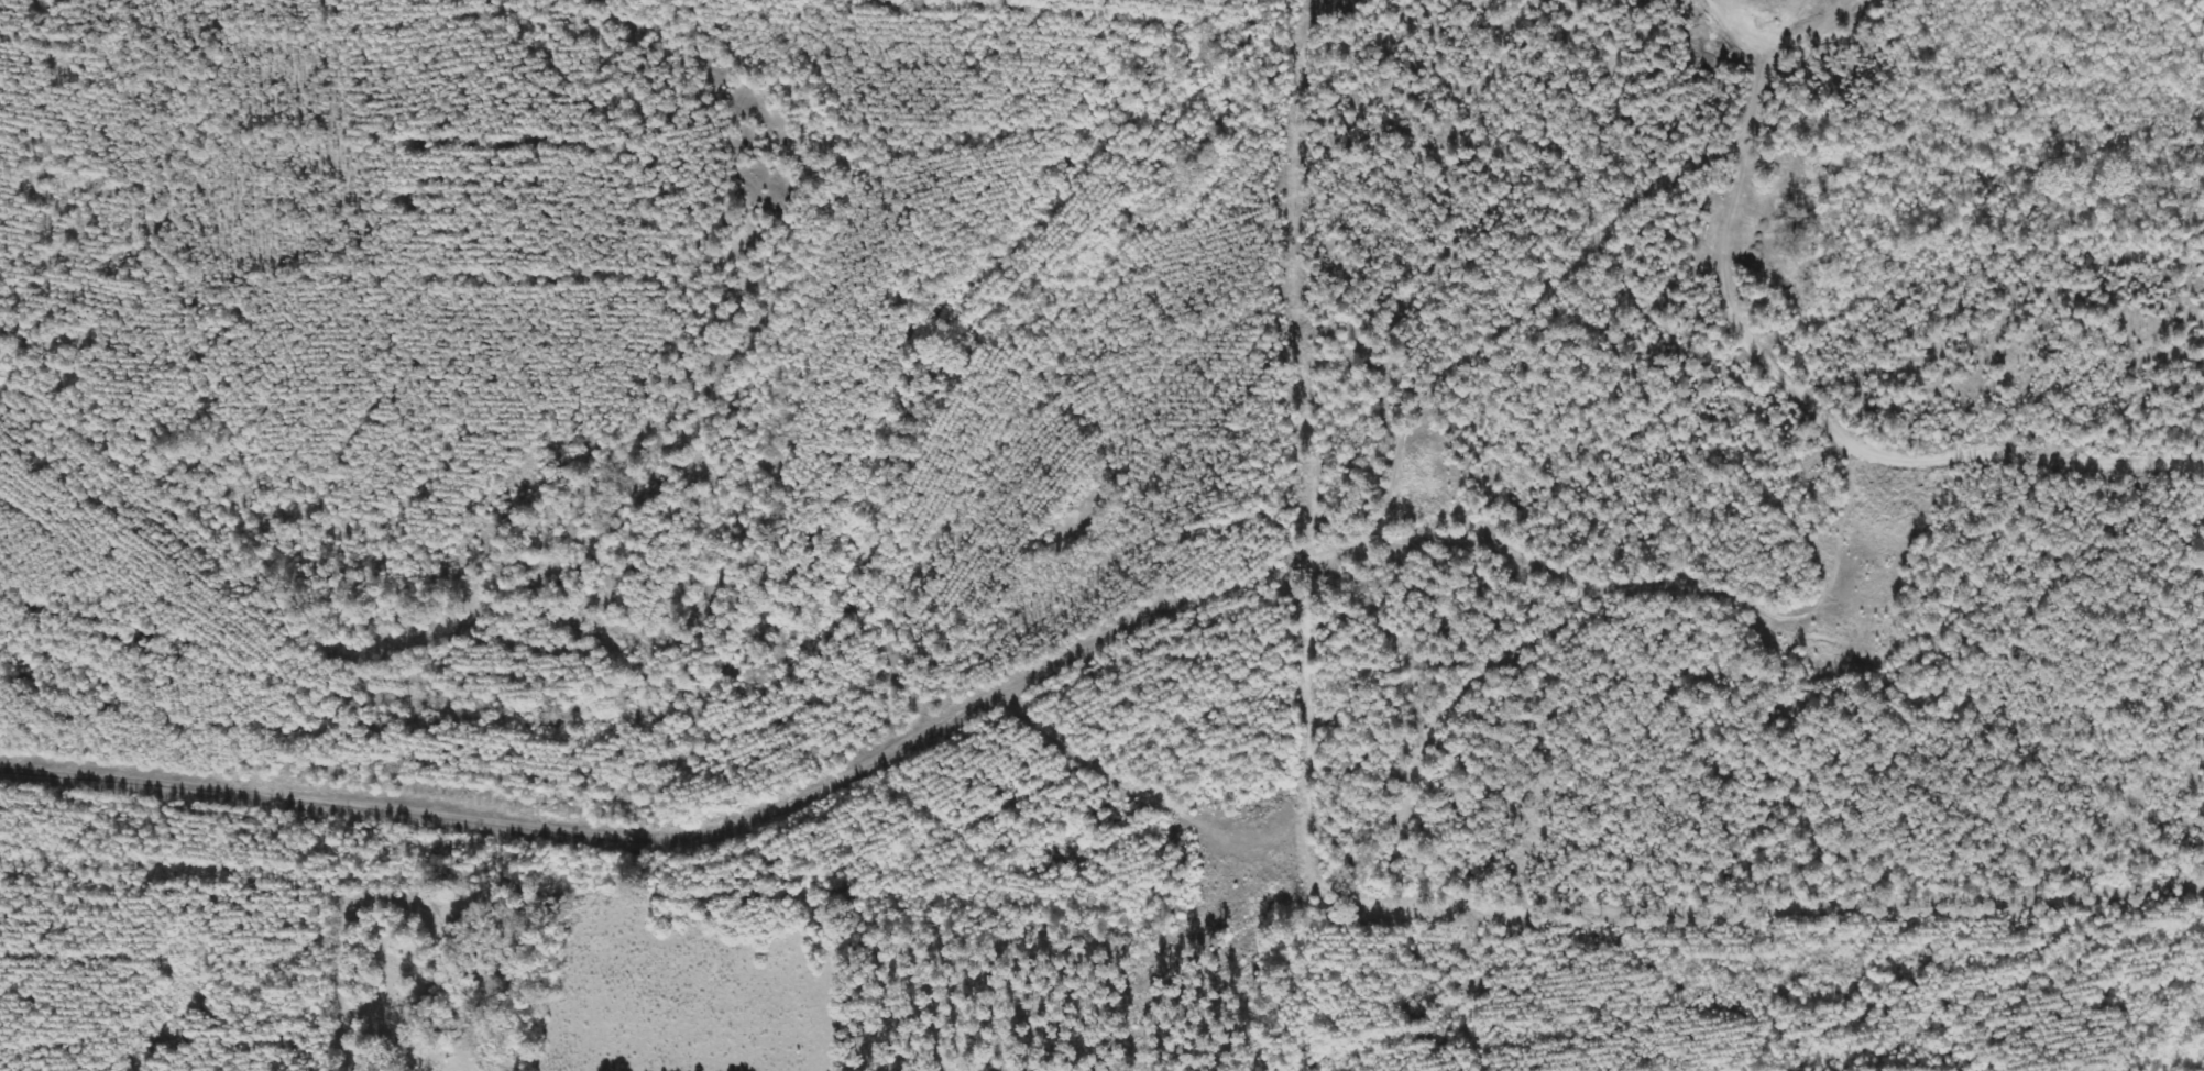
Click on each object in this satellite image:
road: (2186, 472)

